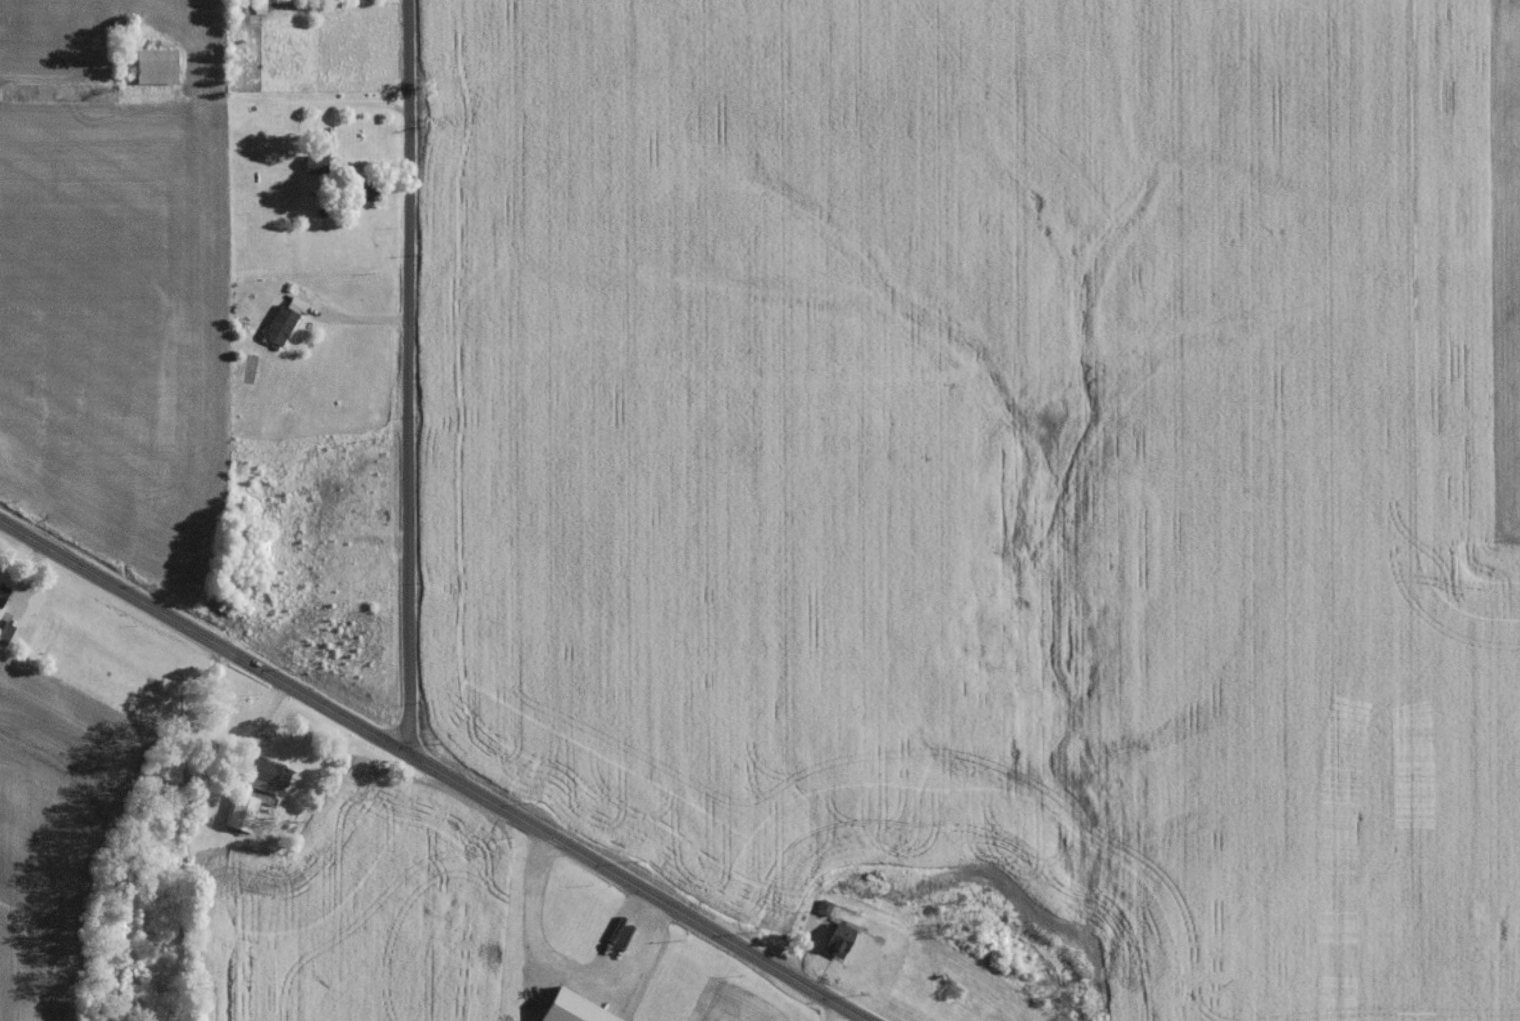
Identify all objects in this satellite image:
building: (148, 71)
road: (210, 100)
road: (340, 168)
road: (359, 323)
building: (275, 330)
road: (410, 375)
building: (3, 597)
building: (5, 637)
road: (439, 764)
building: (266, 781)
building: (243, 817)
building: (833, 943)
building: (561, 1010)
road: (834, 1010)

